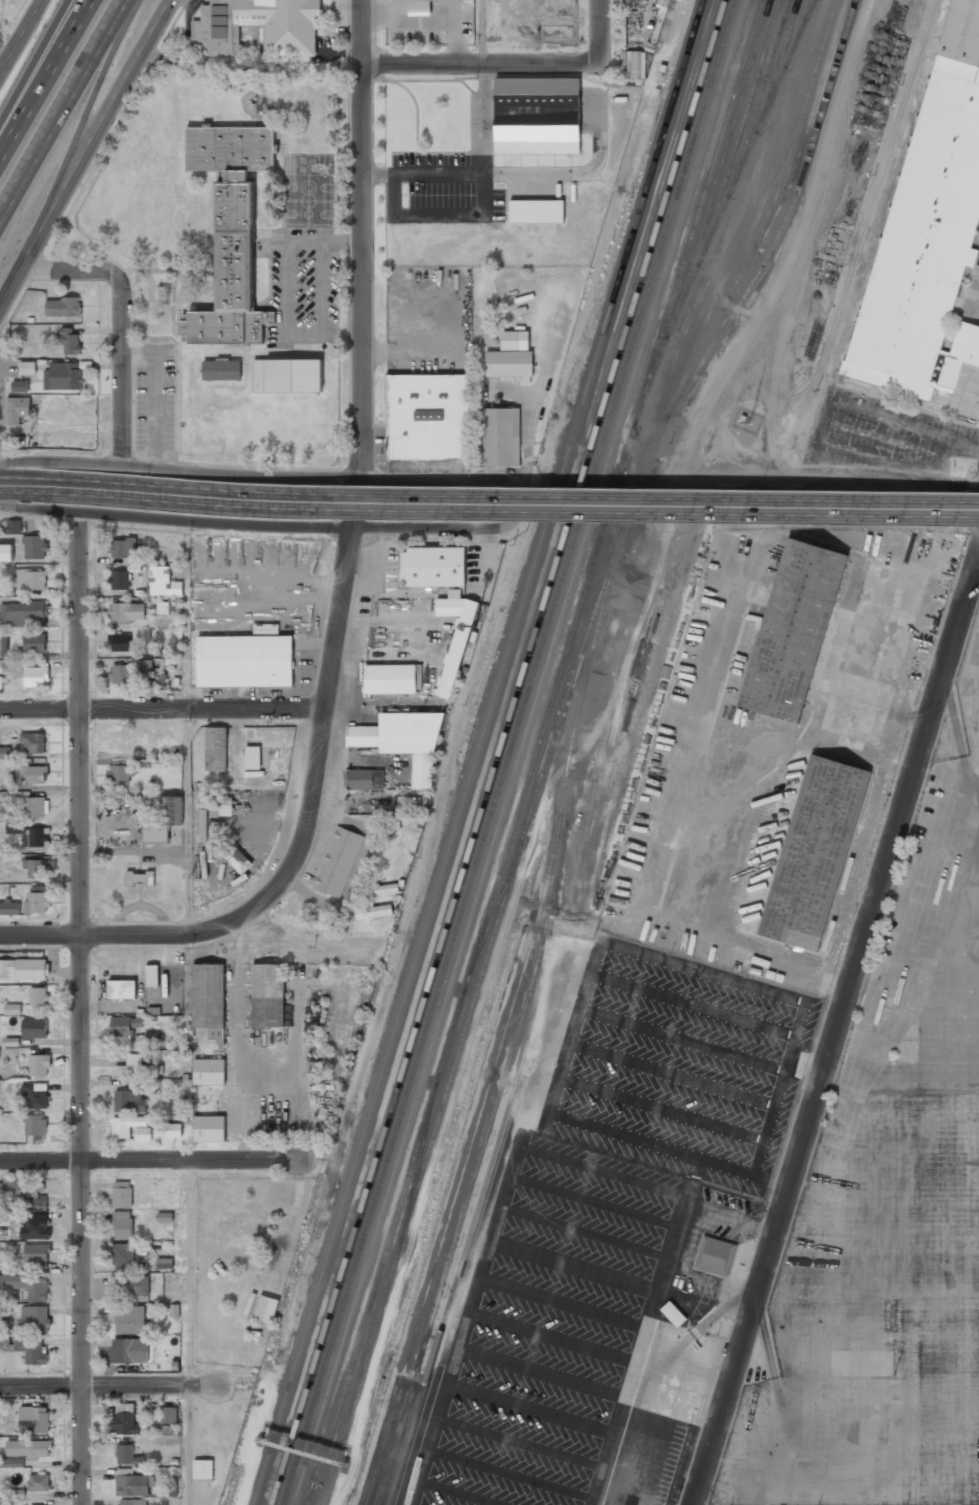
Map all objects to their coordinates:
building: (418, 7)
building: (289, 28)
road: (2, 31)
road: (480, 33)
road: (19, 34)
road: (599, 40)
road: (33, 60)
road: (1, 63)
building: (635, 64)
road: (468, 67)
road: (46, 78)
railway: (762, 90)
railway: (724, 100)
road: (65, 106)
building: (537, 115)
railway: (811, 117)
railway: (742, 124)
road: (80, 133)
railway: (722, 134)
railway: (793, 141)
road: (89, 155)
railway: (722, 159)
railway: (777, 166)
railway: (728, 195)
railway: (753, 206)
building: (536, 211)
railway: (735, 227)
building: (932, 233)
building: (231, 241)
building: (65, 308)
road: (122, 322)
building: (72, 347)
building: (512, 359)
building: (27, 368)
building: (222, 371)
building: (62, 377)
building: (289, 379)
building: (20, 386)
building: (17, 412)
building: (429, 421)
building: (502, 440)
road: (360, 478)
road: (28, 485)
road: (517, 505)
road: (517, 505)
building: (13, 527)
building: (35, 548)
building: (122, 548)
building: (5, 552)
road: (978, 558)
road: (978, 561)
building: (433, 568)
building: (30, 580)
building: (119, 580)
building: (162, 583)
building: (162, 609)
building: (126, 611)
building: (22, 614)
railway: (561, 628)
building: (792, 632)
building: (455, 638)
building: (34, 643)
building: (119, 643)
building: (5, 646)
building: (147, 653)
building: (245, 662)
building: (119, 675)
building: (35, 677)
railway: (522, 678)
building: (390, 680)
building: (0, 681)
road: (162, 707)
road: (186, 728)
railway: (554, 737)
building: (33, 742)
building: (402, 743)
building: (124, 744)
building: (216, 749)
building: (5, 752)
railway: (477, 752)
railway: (509, 752)
railway: (536, 754)
building: (252, 758)
building: (119, 774)
building: (37, 775)
building: (364, 780)
building: (34, 807)
building: (165, 821)
building: (14, 828)
building: (38, 838)
building: (814, 854)
building: (14, 858)
building: (238, 860)
building: (338, 863)
building: (33, 869)
building: (140, 879)
building: (385, 890)
building: (37, 900)
building: (10, 908)
building: (374, 913)
road: (40, 936)
road: (155, 936)
building: (24, 969)
building: (152, 975)
building: (122, 990)
building: (268, 996)
building: (38, 997)
building: (208, 1001)
road: (80, 1008)
building: (12, 1009)
building: (122, 1025)
building: (34, 1029)
railway: (529, 1031)
road: (831, 1033)
building: (39, 1066)
building: (130, 1066)
building: (209, 1073)
building: (35, 1094)
building: (130, 1102)
building: (34, 1126)
building: (130, 1129)
building: (209, 1129)
building: (174, 1131)
road: (148, 1160)
railway: (461, 1175)
building: (23, 1191)
building: (122, 1194)
building: (2, 1216)
building: (38, 1222)
building: (241, 1224)
building: (122, 1225)
railway: (458, 1234)
building: (37, 1254)
building: (123, 1256)
building: (714, 1256)
building: (242, 1260)
building: (164, 1263)
building: (28, 1286)
building: (132, 1286)
building: (266, 1310)
building: (37, 1317)
building: (129, 1320)
road: (189, 1332)
building: (32, 1349)
building: (129, 1351)
road: (107, 1384)
building: (168, 1416)
building: (127, 1419)
building: (35, 1420)
railway: (295, 1430)
building: (29, 1449)
building: (127, 1455)
building: (11, 1463)
building: (203, 1470)
building: (38, 1482)
building: (132, 1483)
building: (132, 1502)

